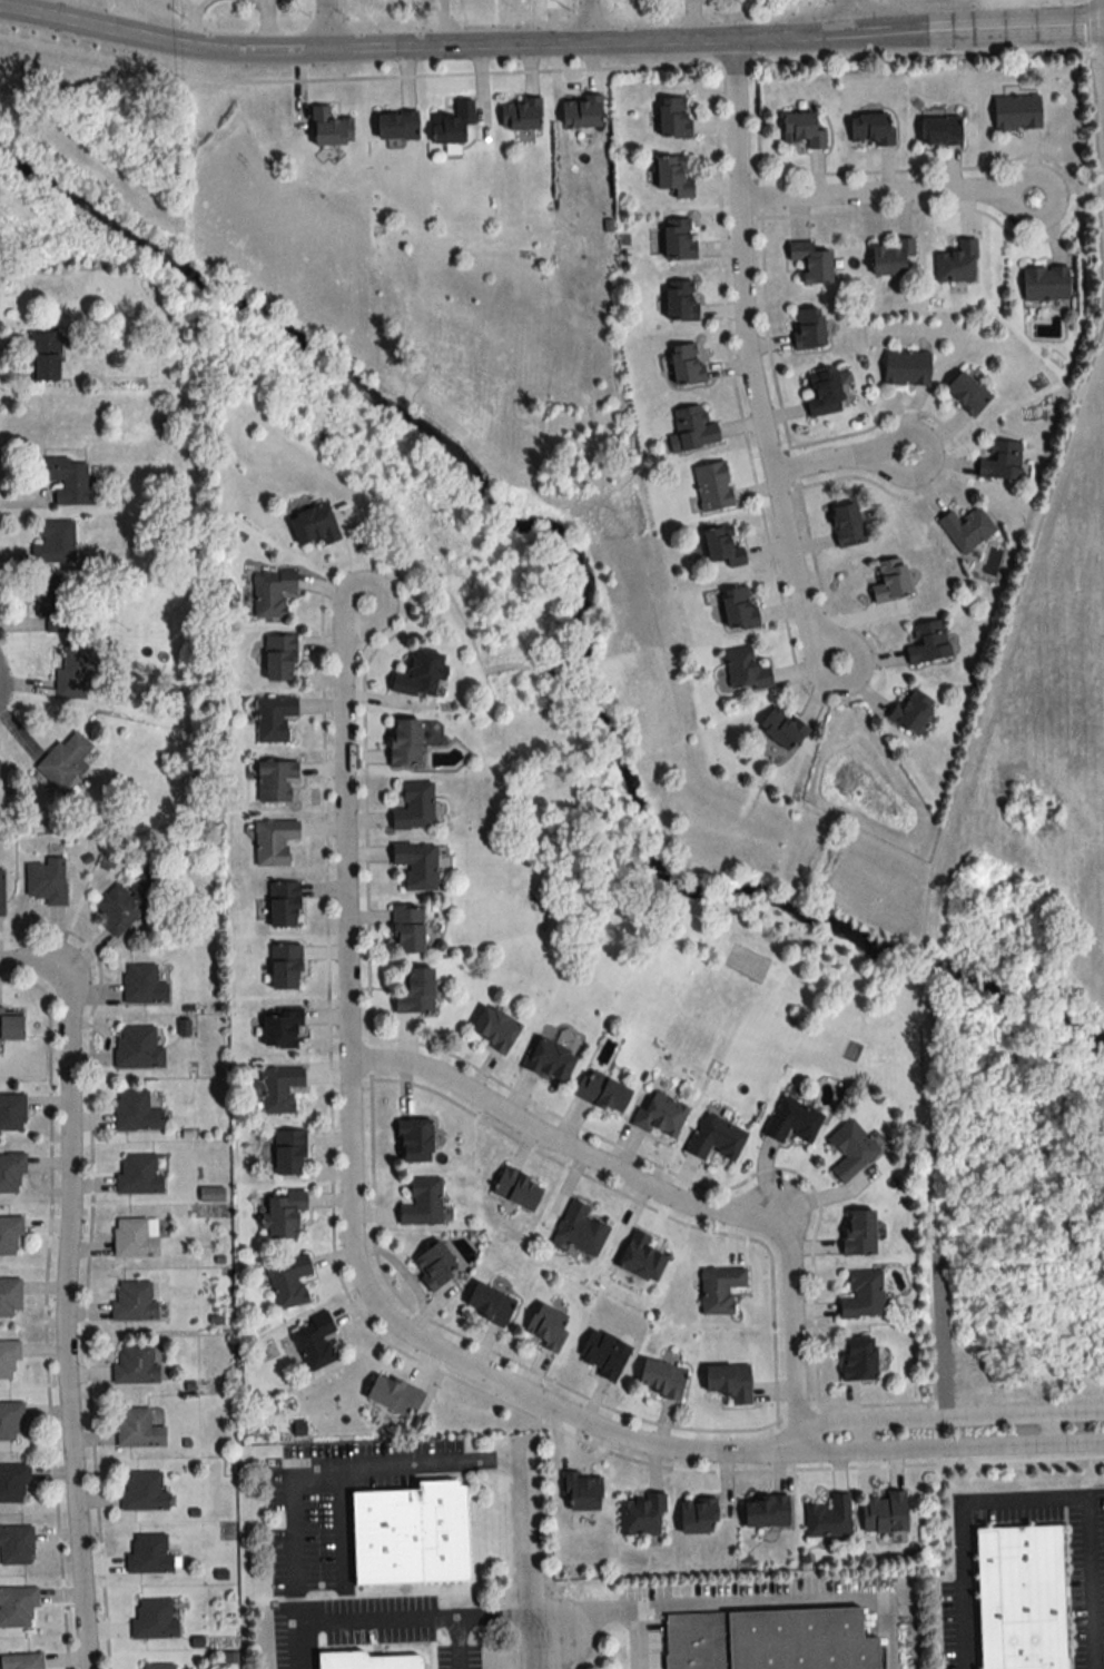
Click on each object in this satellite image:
road: (127, 14)
road: (845, 19)
road: (582, 22)
road: (321, 26)
road: (550, 46)
building: (580, 112)
building: (1015, 112)
building: (520, 115)
building: (672, 118)
building: (451, 124)
building: (395, 126)
building: (328, 128)
building: (802, 130)
building: (870, 130)
building: (939, 130)
building: (672, 177)
road: (880, 196)
building: (677, 239)
building: (890, 257)
building: (810, 261)
building: (956, 263)
building: (1043, 283)
building: (679, 302)
building: (808, 328)
building: (45, 357)
road: (748, 363)
building: (684, 364)
building: (906, 368)
building: (822, 393)
building: (966, 393)
building: (691, 428)
road: (842, 461)
building: (1000, 461)
building: (66, 481)
building: (711, 486)
building: (313, 525)
building: (846, 525)
building: (966, 529)
building: (55, 542)
building: (722, 546)
building: (889, 582)
building: (270, 592)
building: (53, 602)
building: (737, 608)
building: (927, 643)
building: (278, 659)
building: (743, 671)
building: (71, 672)
building: (417, 677)
building: (909, 711)
road: (976, 718)
building: (273, 719)
building: (781, 729)
building: (403, 743)
building: (65, 761)
building: (275, 782)
building: (413, 807)
building: (273, 841)
building: (416, 865)
building: (46, 881)
building: (124, 903)
building: (283, 905)
building: (406, 929)
building: (284, 967)
road: (32, 969)
building: (142, 986)
building: (414, 992)
building: (10, 1027)
building: (493, 1029)
building: (280, 1030)
building: (139, 1048)
building: (549, 1061)
building: (278, 1089)
building: (601, 1093)
building: (135, 1112)
building: (11, 1113)
building: (660, 1116)
building: (791, 1122)
building: (714, 1138)
building: (413, 1142)
building: (850, 1150)
building: (288, 1154)
building: (11, 1173)
building: (137, 1174)
building: (516, 1189)
road: (353, 1193)
road: (662, 1194)
building: (421, 1203)
building: (283, 1215)
building: (578, 1231)
building: (857, 1234)
building: (9, 1235)
building: (135, 1237)
building: (640, 1258)
building: (433, 1266)
building: (288, 1282)
building: (719, 1290)
building: (861, 1296)
building: (9, 1297)
building: (132, 1302)
building: (489, 1304)
road: (63, 1323)
building: (545, 1329)
building: (314, 1342)
building: (603, 1355)
building: (8, 1359)
building: (857, 1360)
building: (135, 1364)
building: (659, 1381)
building: (728, 1383)
building: (393, 1395)
building: (10, 1421)
building: (137, 1429)
road: (1051, 1430)
road: (862, 1436)
road: (815, 1439)
road: (935, 1459)
road: (369, 1469)
building: (13, 1483)
building: (142, 1492)
building: (580, 1493)
road: (1027, 1504)
road: (293, 1507)
building: (765, 1512)
building: (884, 1513)
building: (641, 1517)
building: (696, 1518)
building: (828, 1518)
building: (408, 1535)
building: (16, 1545)
road: (529, 1554)
building: (148, 1556)
building: (1019, 1598)
road: (795, 1601)
building: (17, 1608)
road: (613, 1608)
road: (495, 1611)
road: (383, 1616)
building: (154, 1620)
building: (768, 1641)
building: (21, 1661)
building: (366, 1661)
building: (156, 1667)

